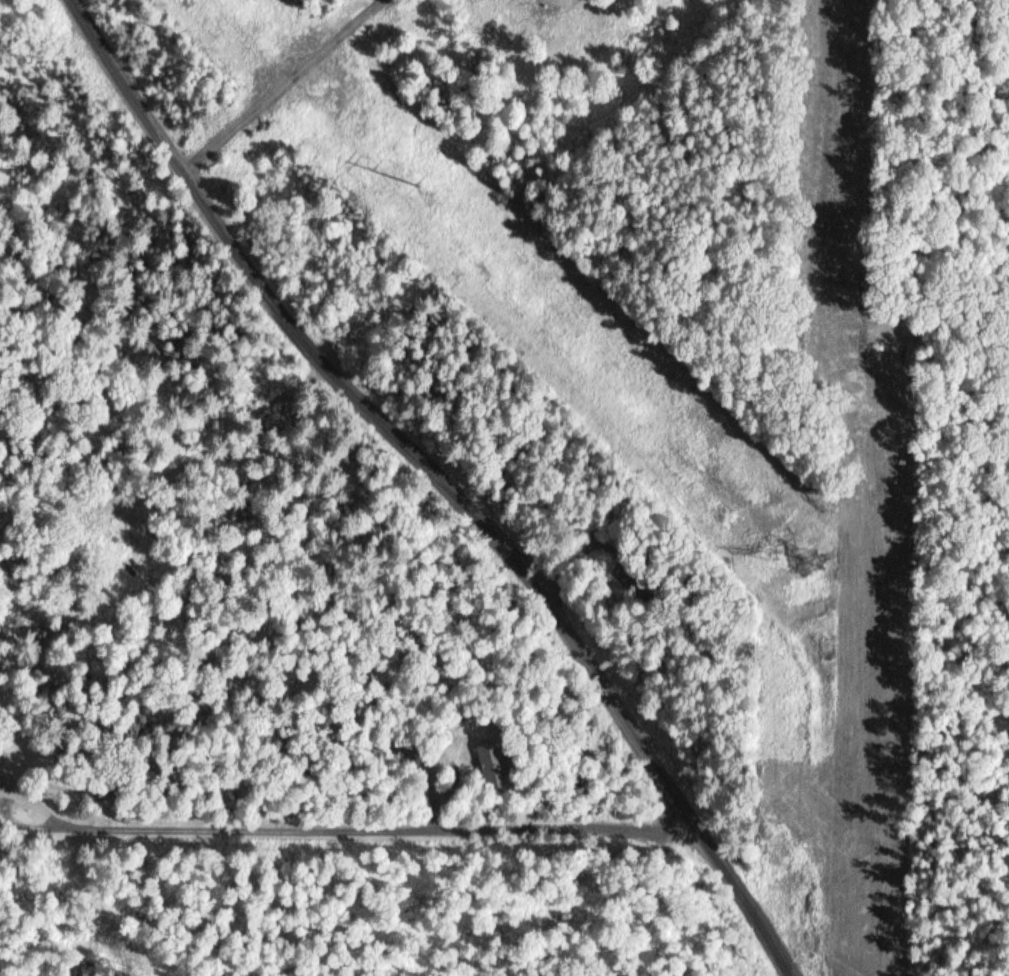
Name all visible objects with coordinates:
road: (277, 78)
power tower: (414, 186)
road: (453, 483)
power tower: (818, 564)
building: (494, 763)
building: (0, 773)

